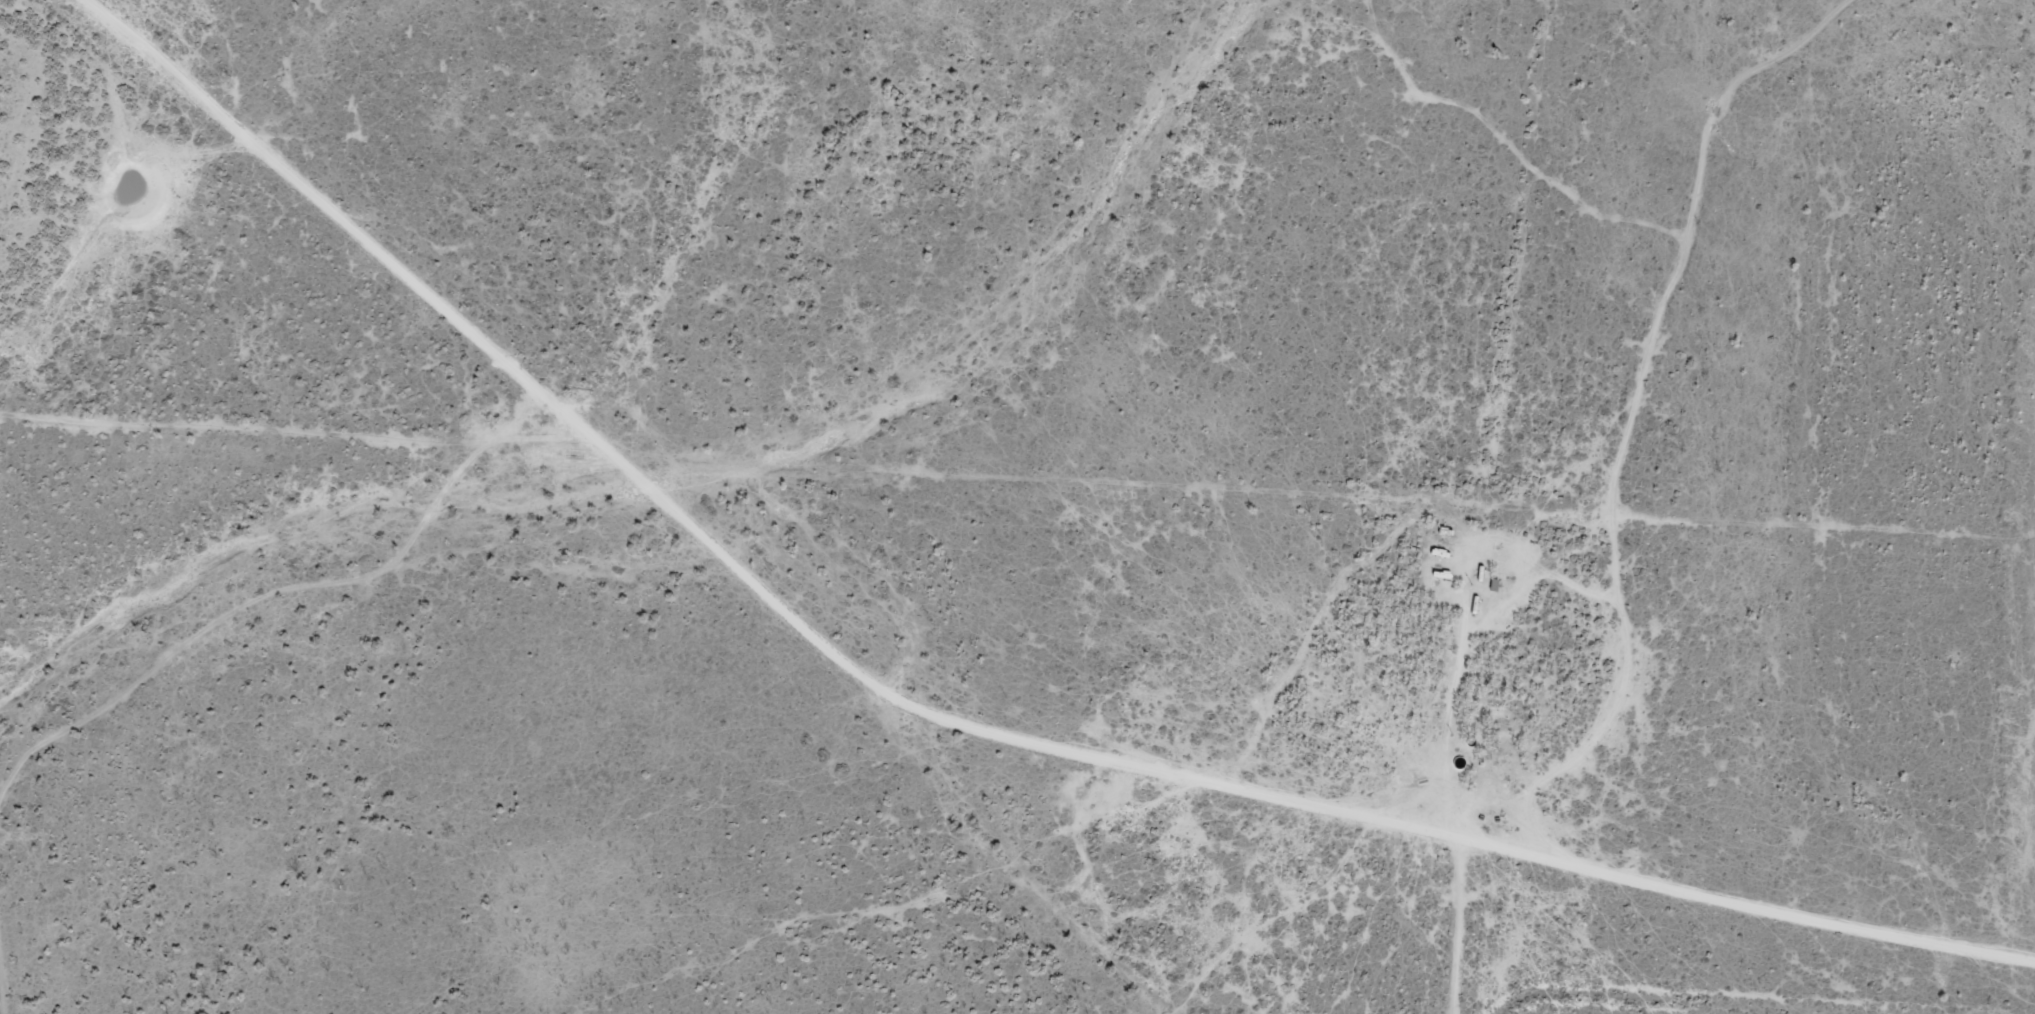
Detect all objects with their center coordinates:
road: (1640, 420)
road: (945, 710)

